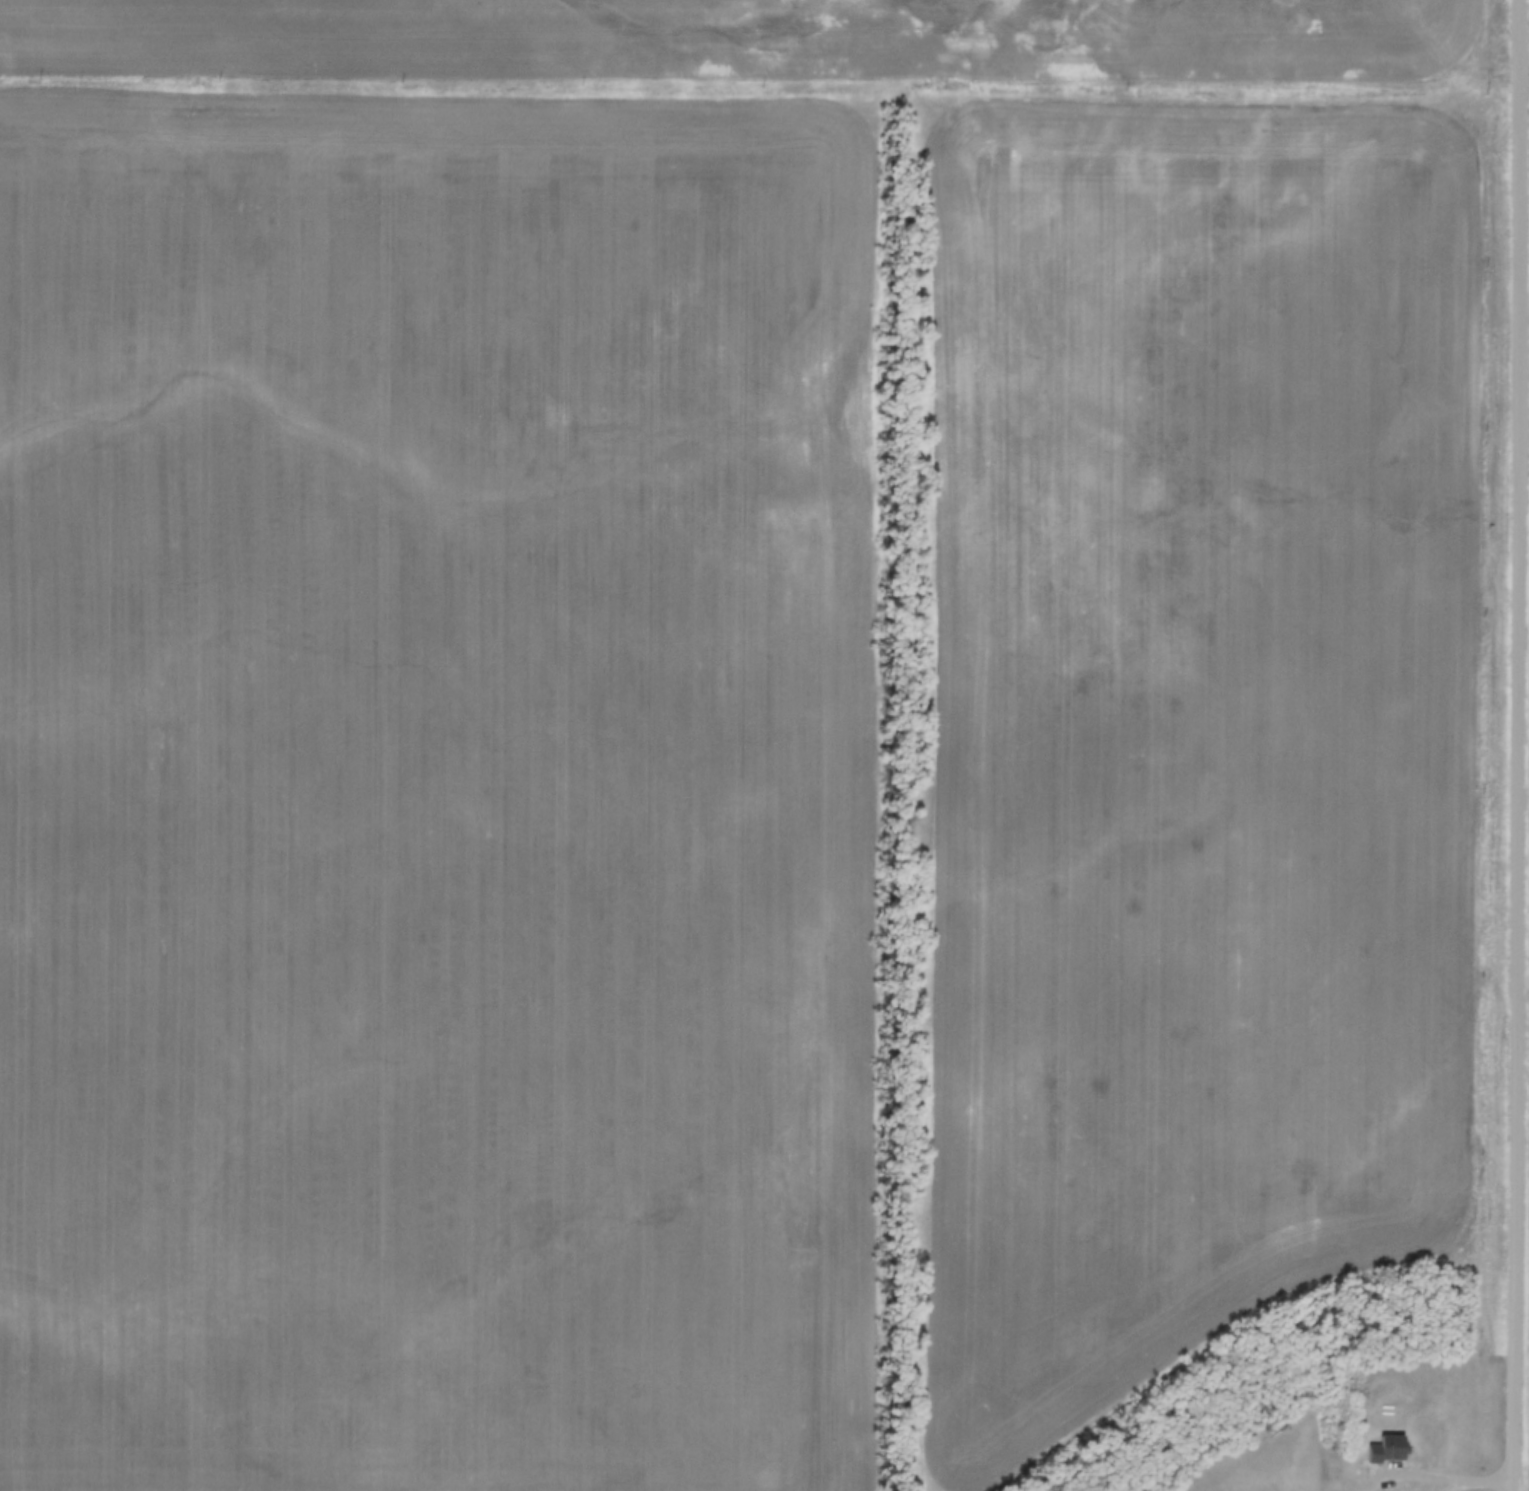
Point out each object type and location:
building: (1521, 238)
building: (1521, 461)
road: (1518, 745)
building: (1389, 1452)
road: (1435, 1475)

